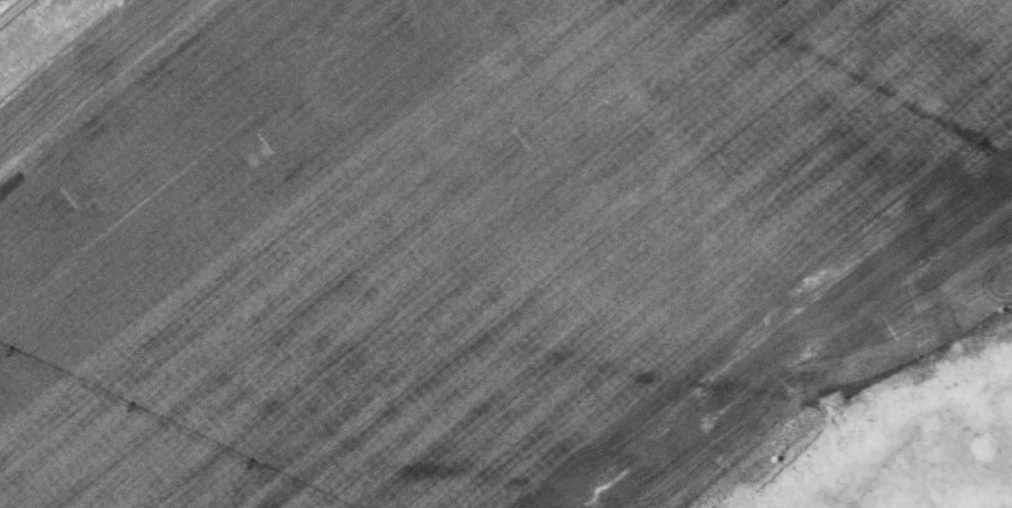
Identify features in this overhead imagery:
road: (14, 11)

